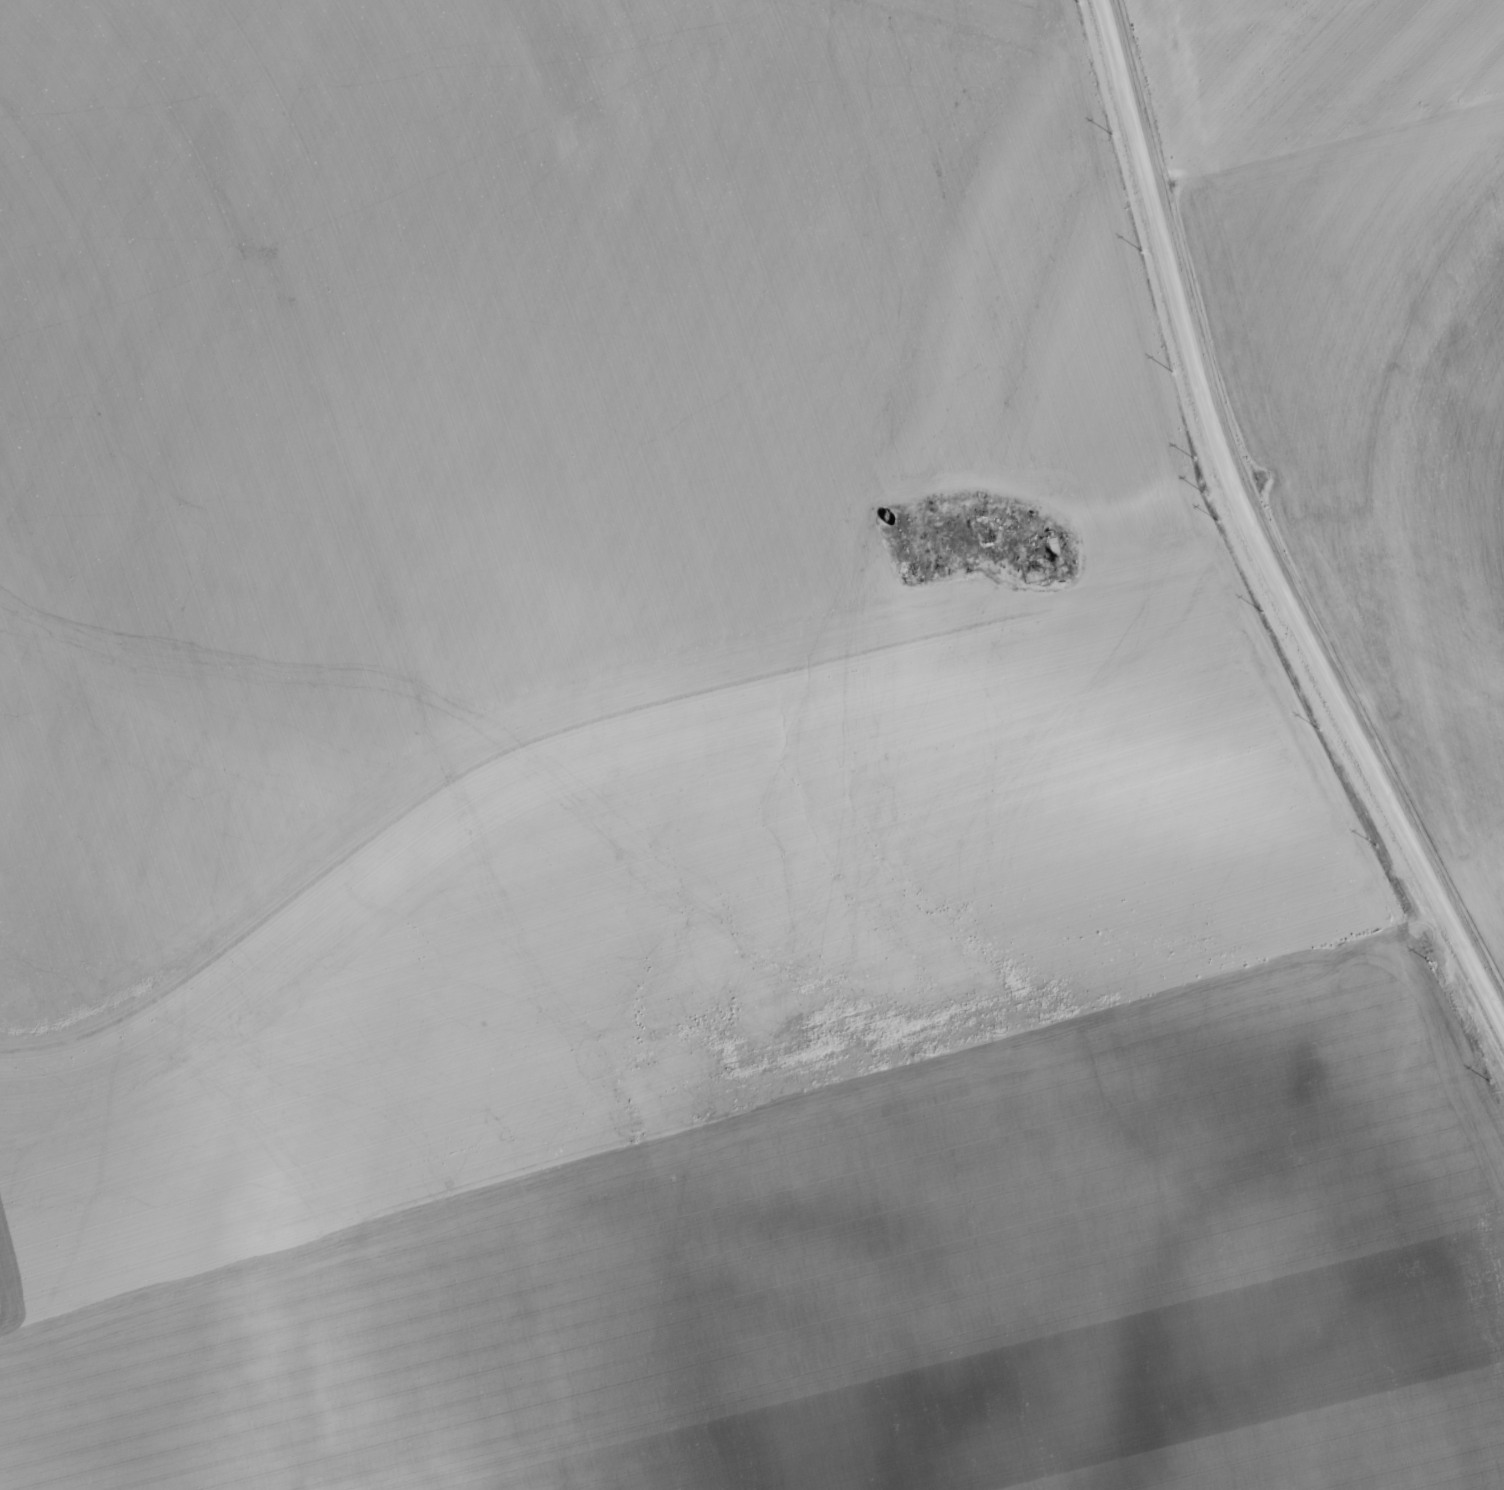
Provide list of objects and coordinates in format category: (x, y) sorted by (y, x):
building: (986, 528)
road: (1254, 561)

